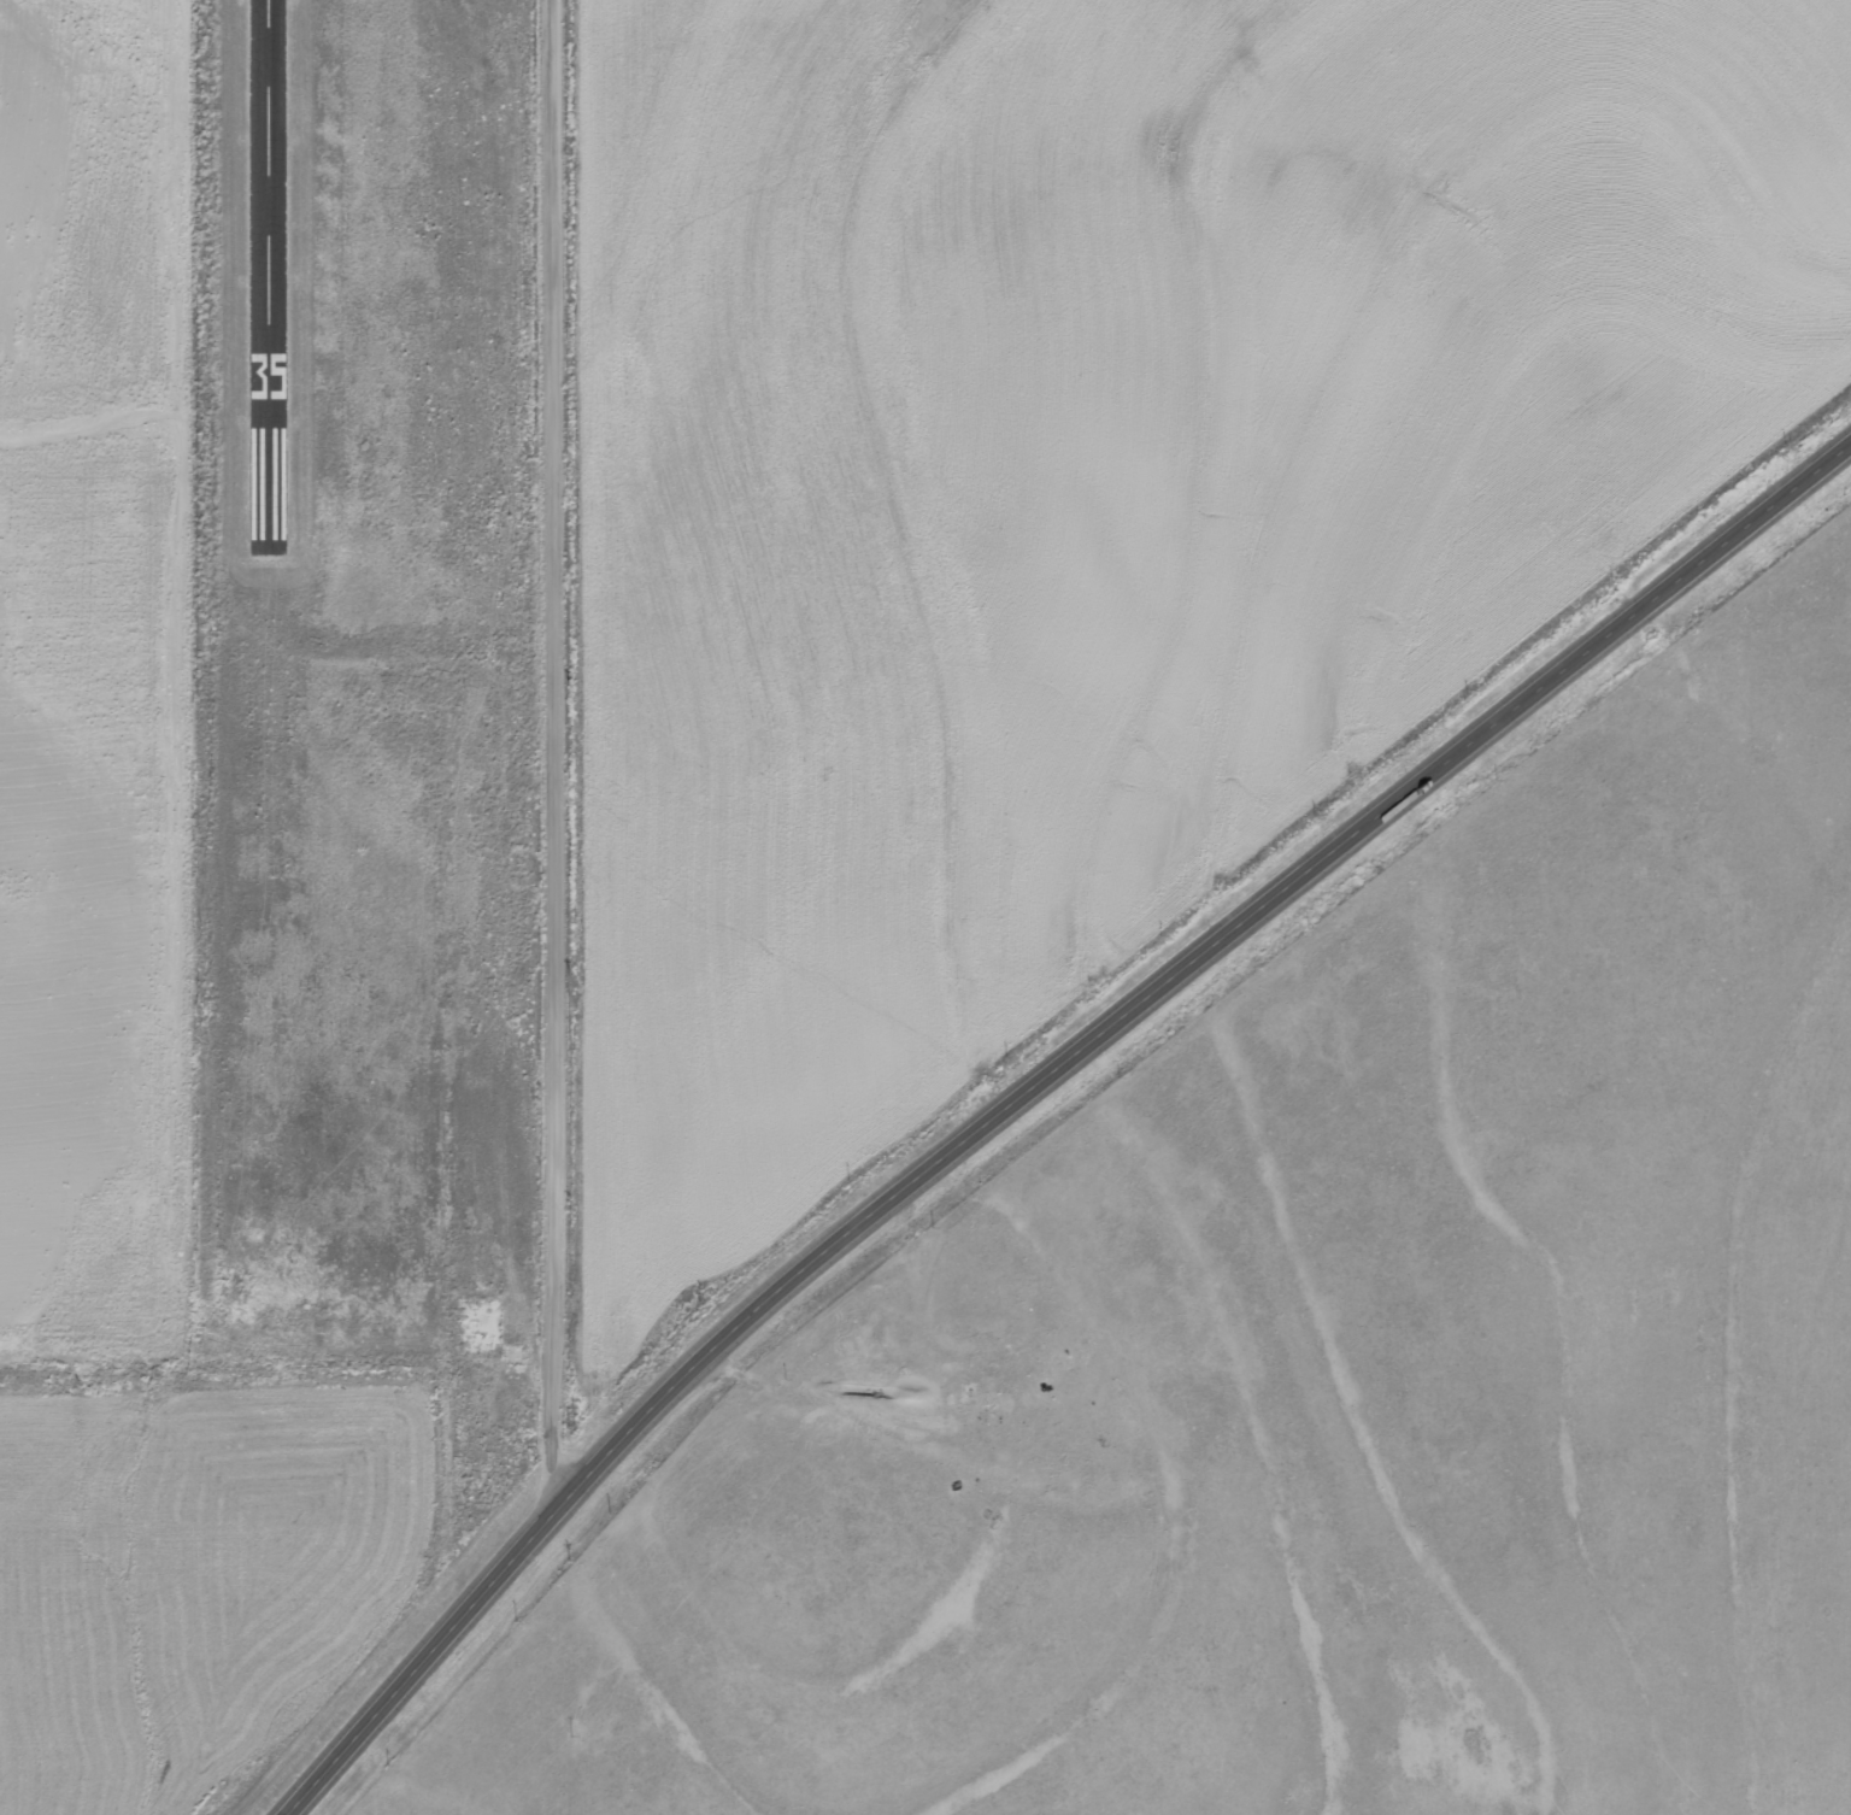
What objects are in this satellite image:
airport runway: (276, 265)
road: (551, 758)
road: (1032, 1087)

